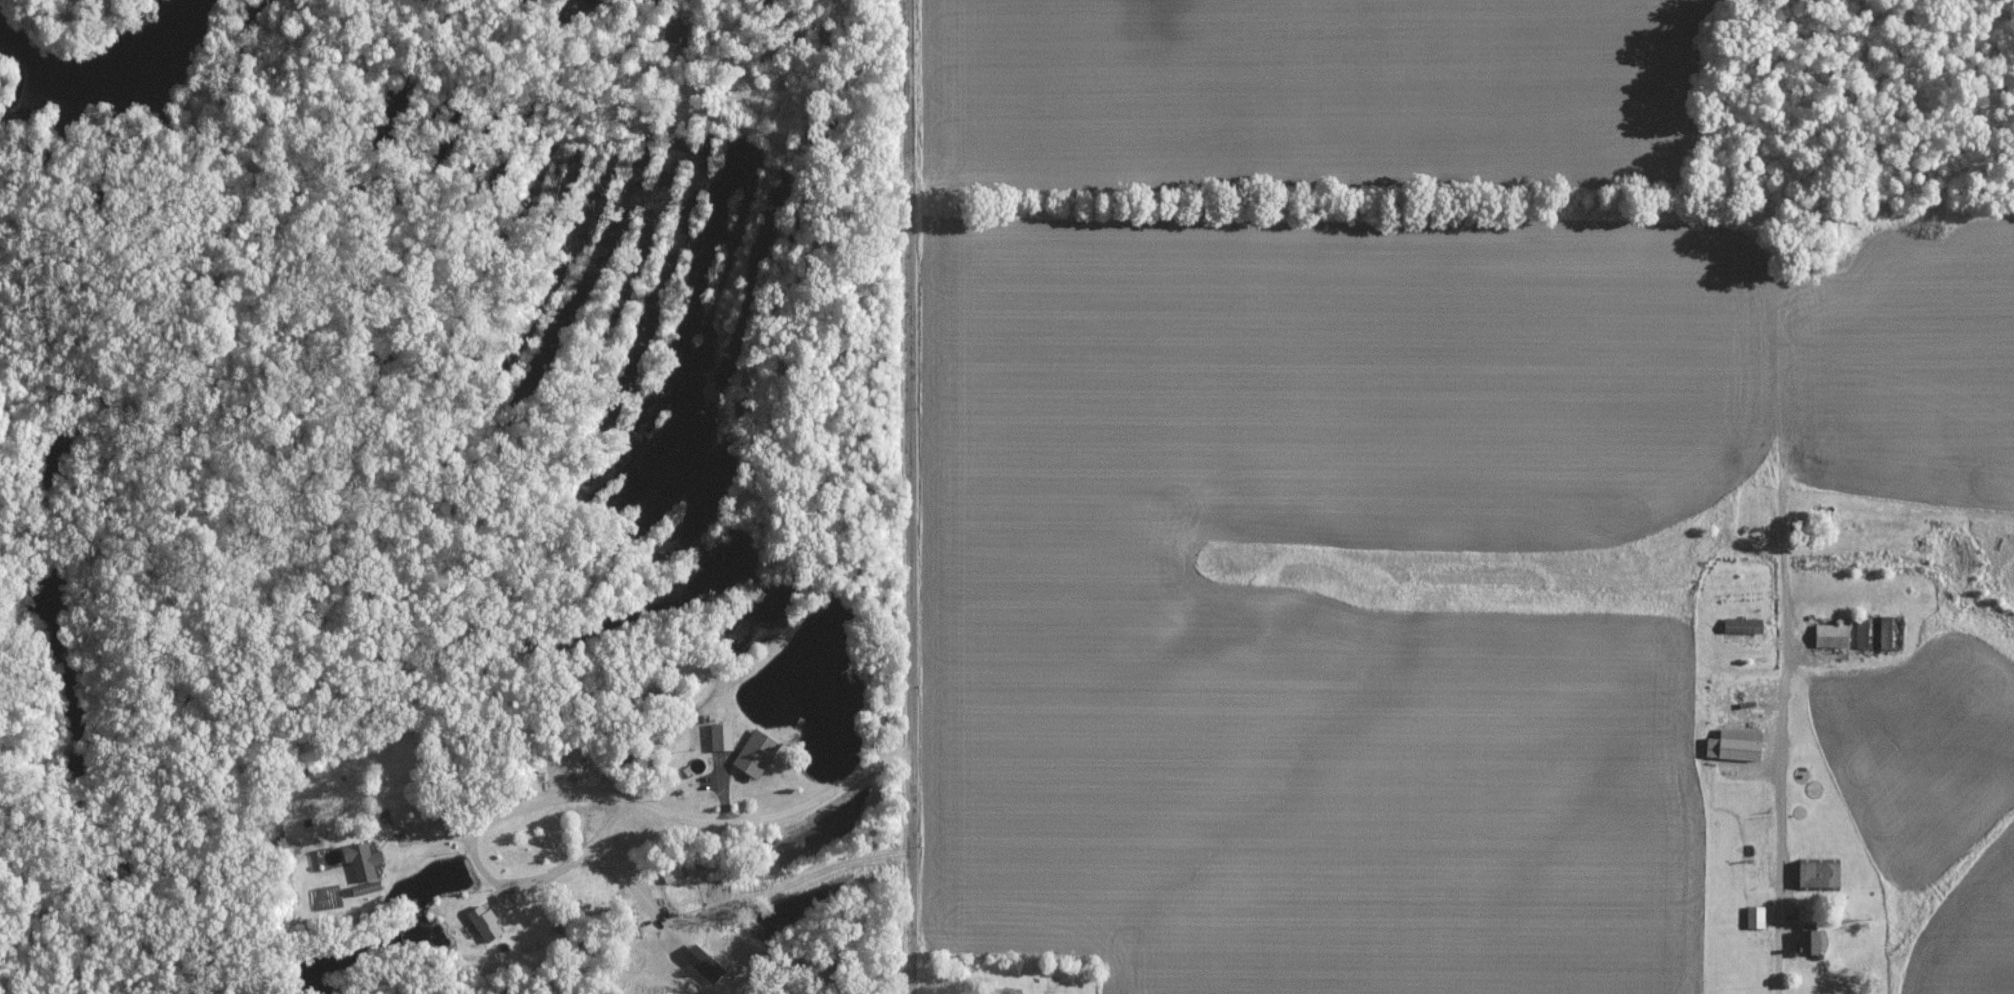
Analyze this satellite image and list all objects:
building: (677, 31)
road: (903, 497)
building: (1829, 635)
building: (719, 736)
building: (1732, 744)
building: (752, 753)
road: (582, 797)
building: (402, 808)
road: (1782, 812)
building: (360, 861)
building: (669, 875)
building: (363, 887)
building: (1753, 916)
building: (482, 922)
building: (1806, 937)
building: (700, 962)

